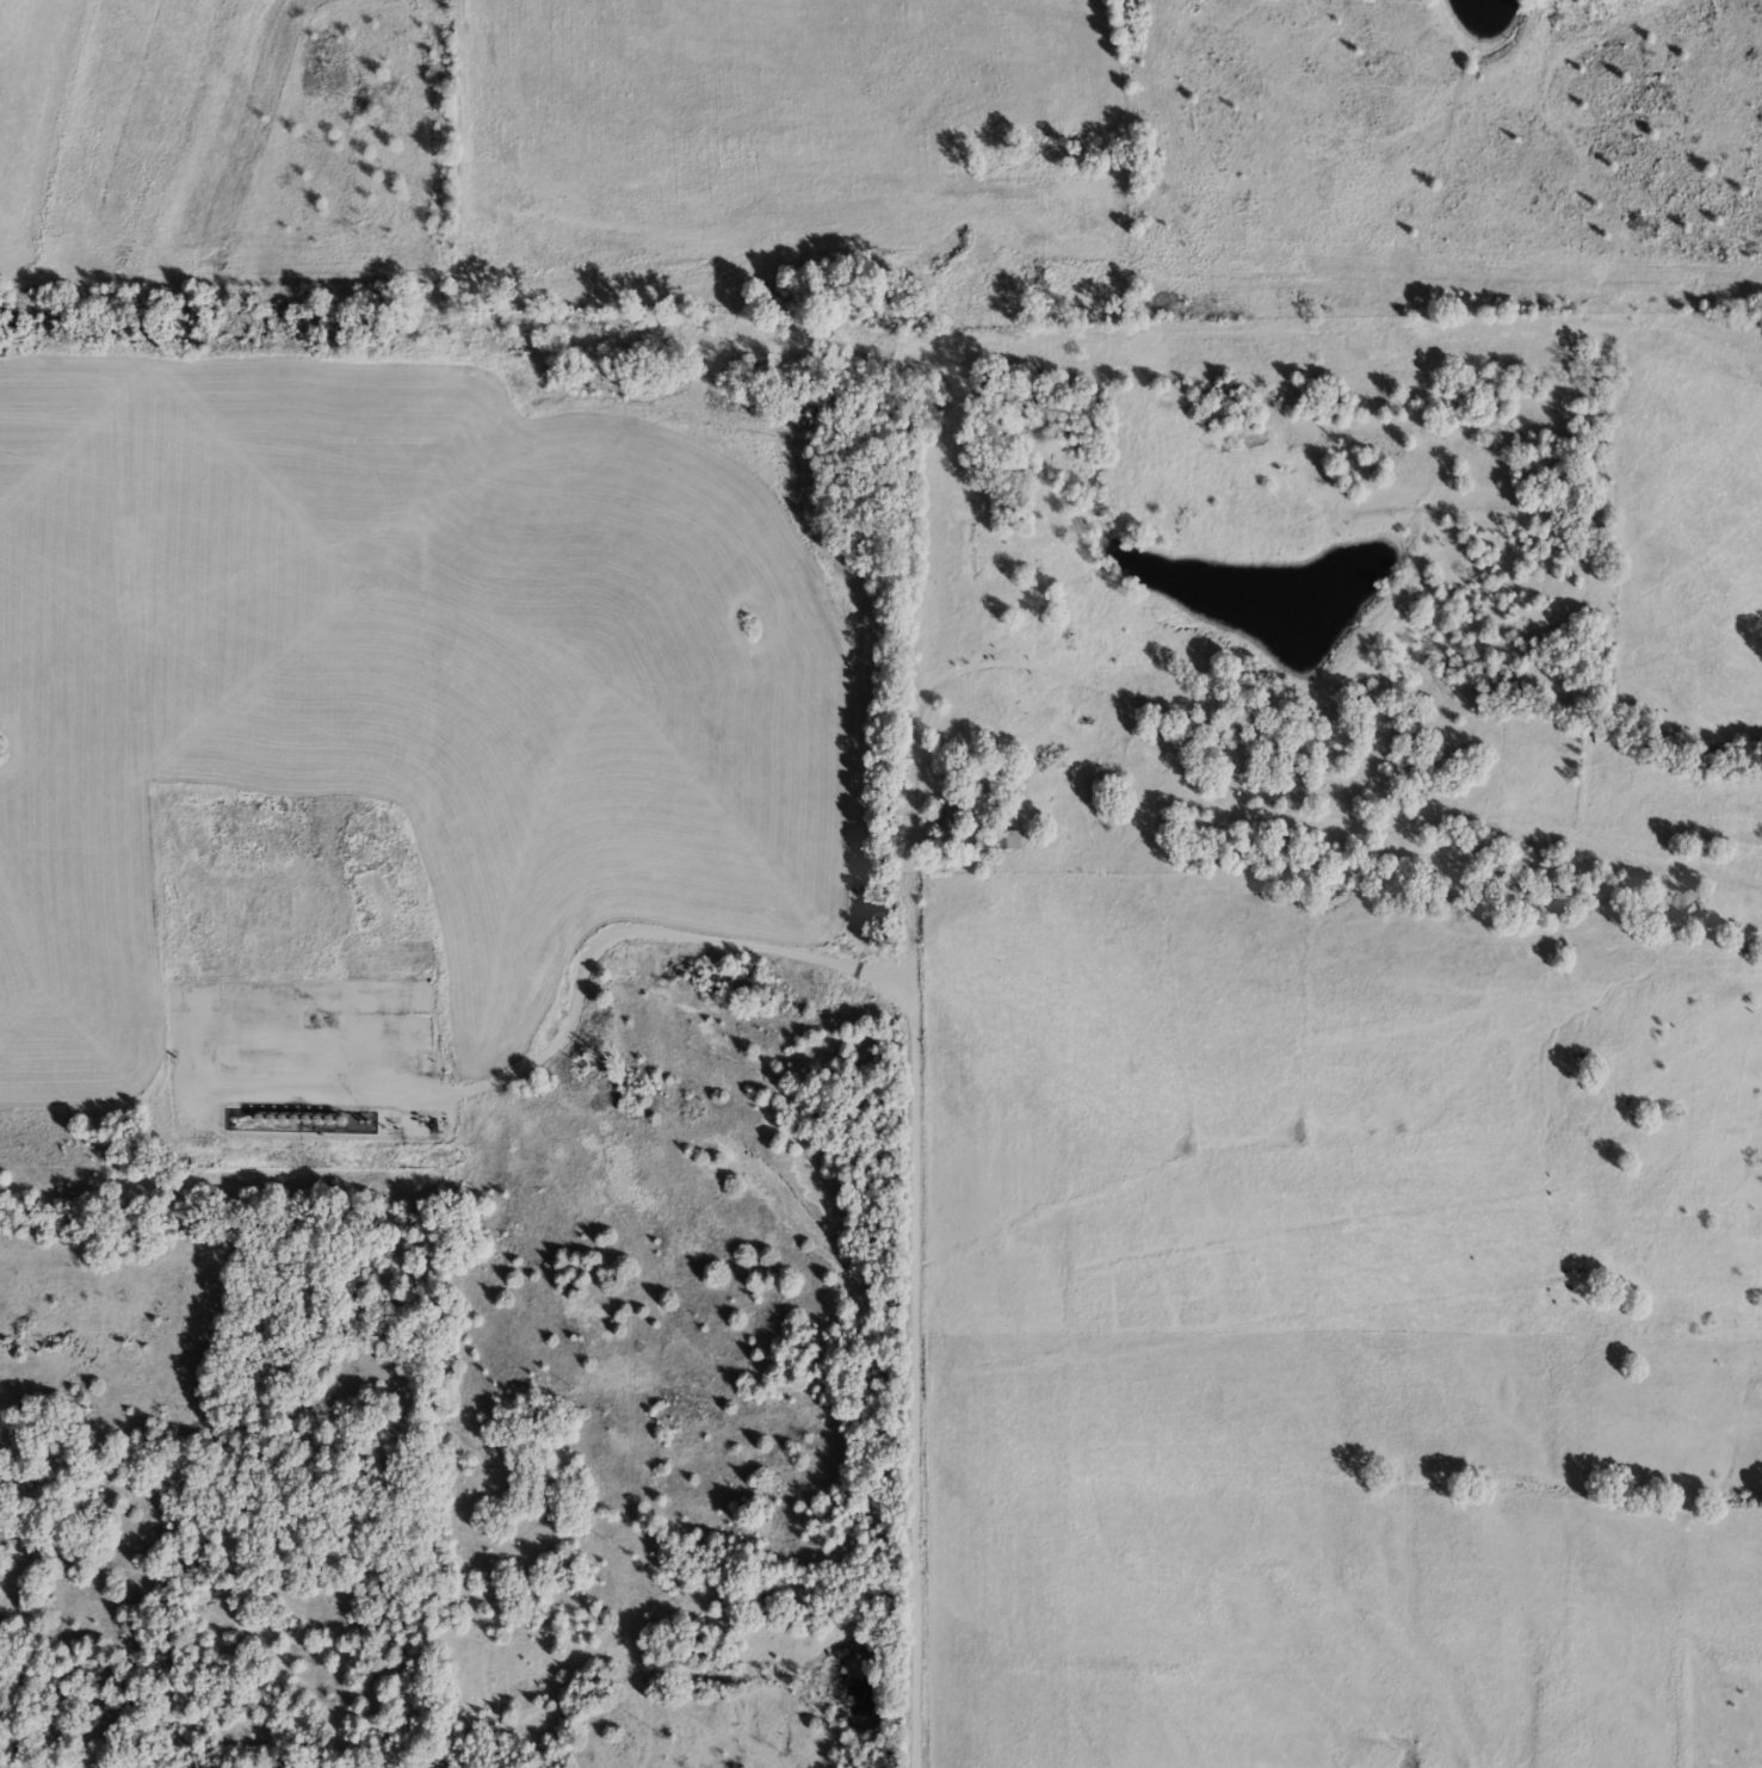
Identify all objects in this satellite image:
road: (1124, 691)
building: (1004, 837)
building: (1684, 902)
road: (959, 1223)

